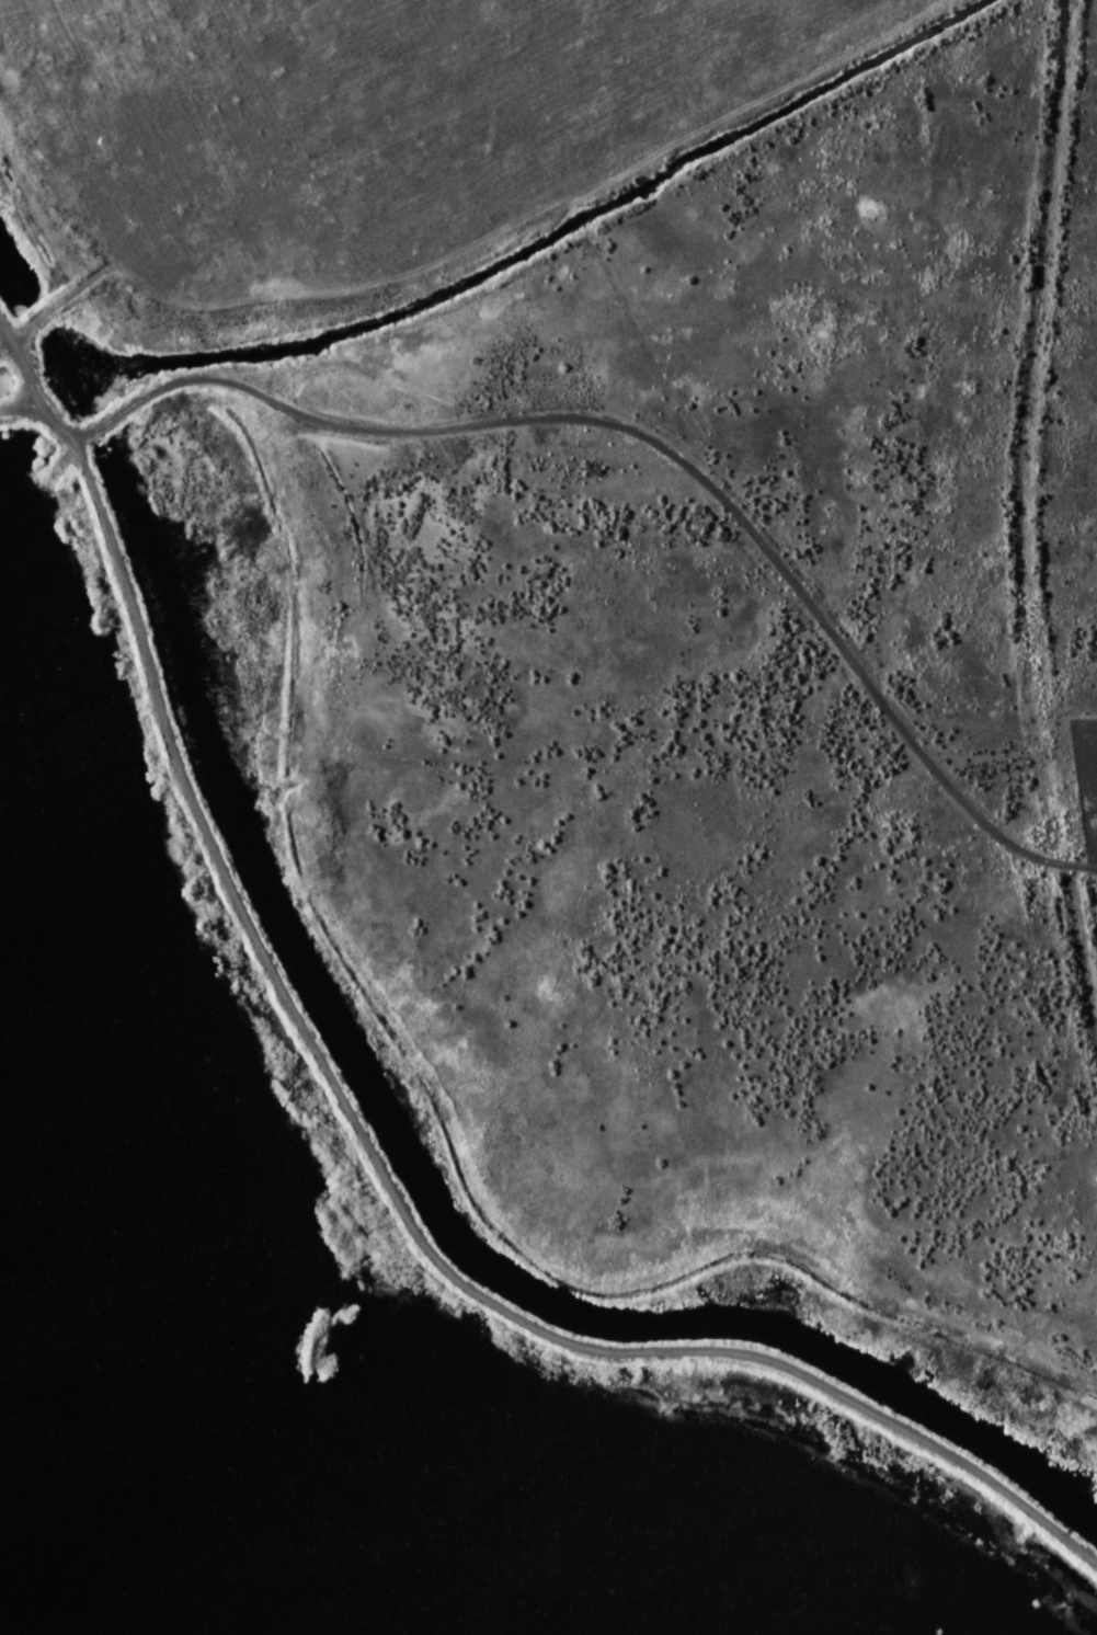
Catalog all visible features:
parking lot: (599, 461)
road: (709, 481)
road: (485, 874)
road: (1077, 967)

